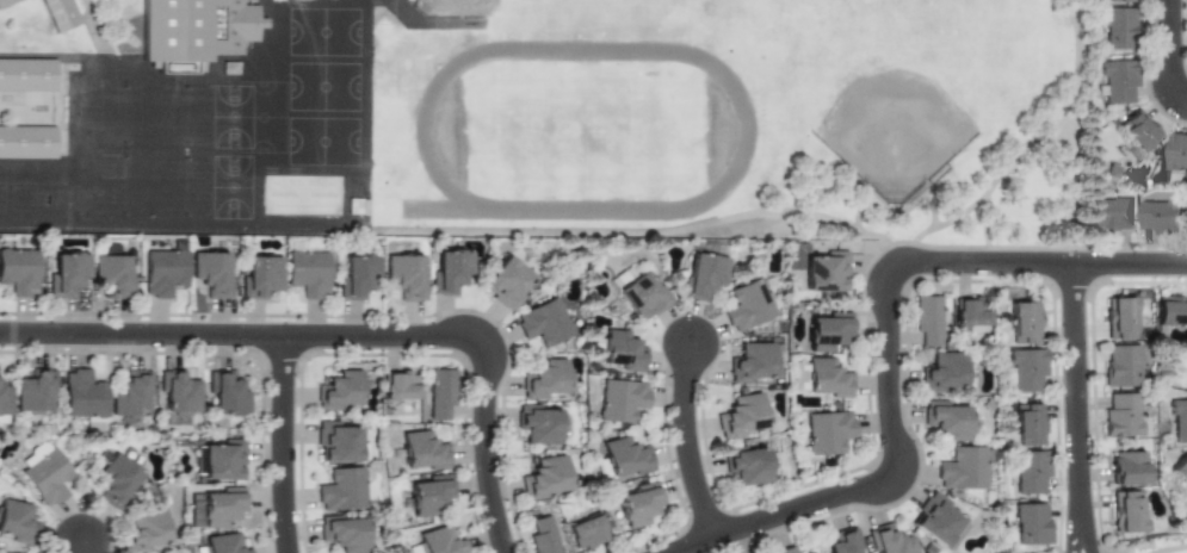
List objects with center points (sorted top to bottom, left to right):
building: (1119, 0)
building: (6, 1)
building: (58, 14)
building: (1118, 27)
building: (193, 31)
road: (1170, 52)
building: (26, 74)
building: (1117, 80)
park: (895, 120)
building: (1138, 133)
building: (26, 142)
road: (1027, 147)
building: (1177, 151)
building: (1109, 213)
building: (1162, 217)
road: (988, 229)
road: (650, 231)
building: (818, 267)
building: (19, 271)
building: (163, 272)
building: (449, 272)
building: (211, 273)
building: (307, 273)
building: (67, 274)
building: (112, 274)
building: (406, 275)
building: (703, 275)
building: (260, 276)
building: (357, 276)
building: (619, 278)
building: (506, 282)
building: (641, 296)
building: (747, 305)
building: (1170, 311)
building: (971, 313)
building: (1119, 317)
street lamp: (142, 318)
building: (927, 319)
building: (543, 322)
building: (1024, 323)
building: (828, 331)
road: (143, 334)
road: (891, 343)
street lamp: (17, 348)
road: (486, 348)
street lamp: (248, 350)
building: (622, 352)
building: (750, 362)
building: (1120, 365)
building: (1025, 368)
building: (942, 372)
building: (826, 377)
building: (544, 379)
building: (398, 385)
building: (339, 390)
building: (35, 391)
building: (178, 392)
building: (441, 392)
building: (227, 393)
building: (82, 394)
building: (130, 394)
building: (5, 398)
building: (620, 399)
road: (1078, 408)
building: (741, 415)
building: (1121, 415)
building: (946, 420)
building: (1179, 421)
building: (538, 424)
building: (1027, 424)
building: (827, 431)
building: (336, 442)
road: (688, 442)
road: (285, 445)
building: (422, 451)
building: (624, 456)
building: (221, 460)
building: (746, 465)
building: (1127, 467)
building: (1180, 467)
building: (962, 468)
building: (1031, 471)
building: (44, 474)
building: (546, 477)
building: (116, 480)
street lamp: (268, 483)
building: (342, 490)
building: (431, 495)
building: (638, 504)
building: (216, 507)
building: (1125, 511)
building: (16, 521)
building: (938, 522)
building: (1031, 523)
building: (147, 530)
building: (586, 532)
building: (344, 533)
building: (543, 536)
building: (889, 540)
building: (439, 541)
building: (843, 541)
building: (223, 543)
road: (85, 547)
building: (786, 551)
building: (810, 552)

